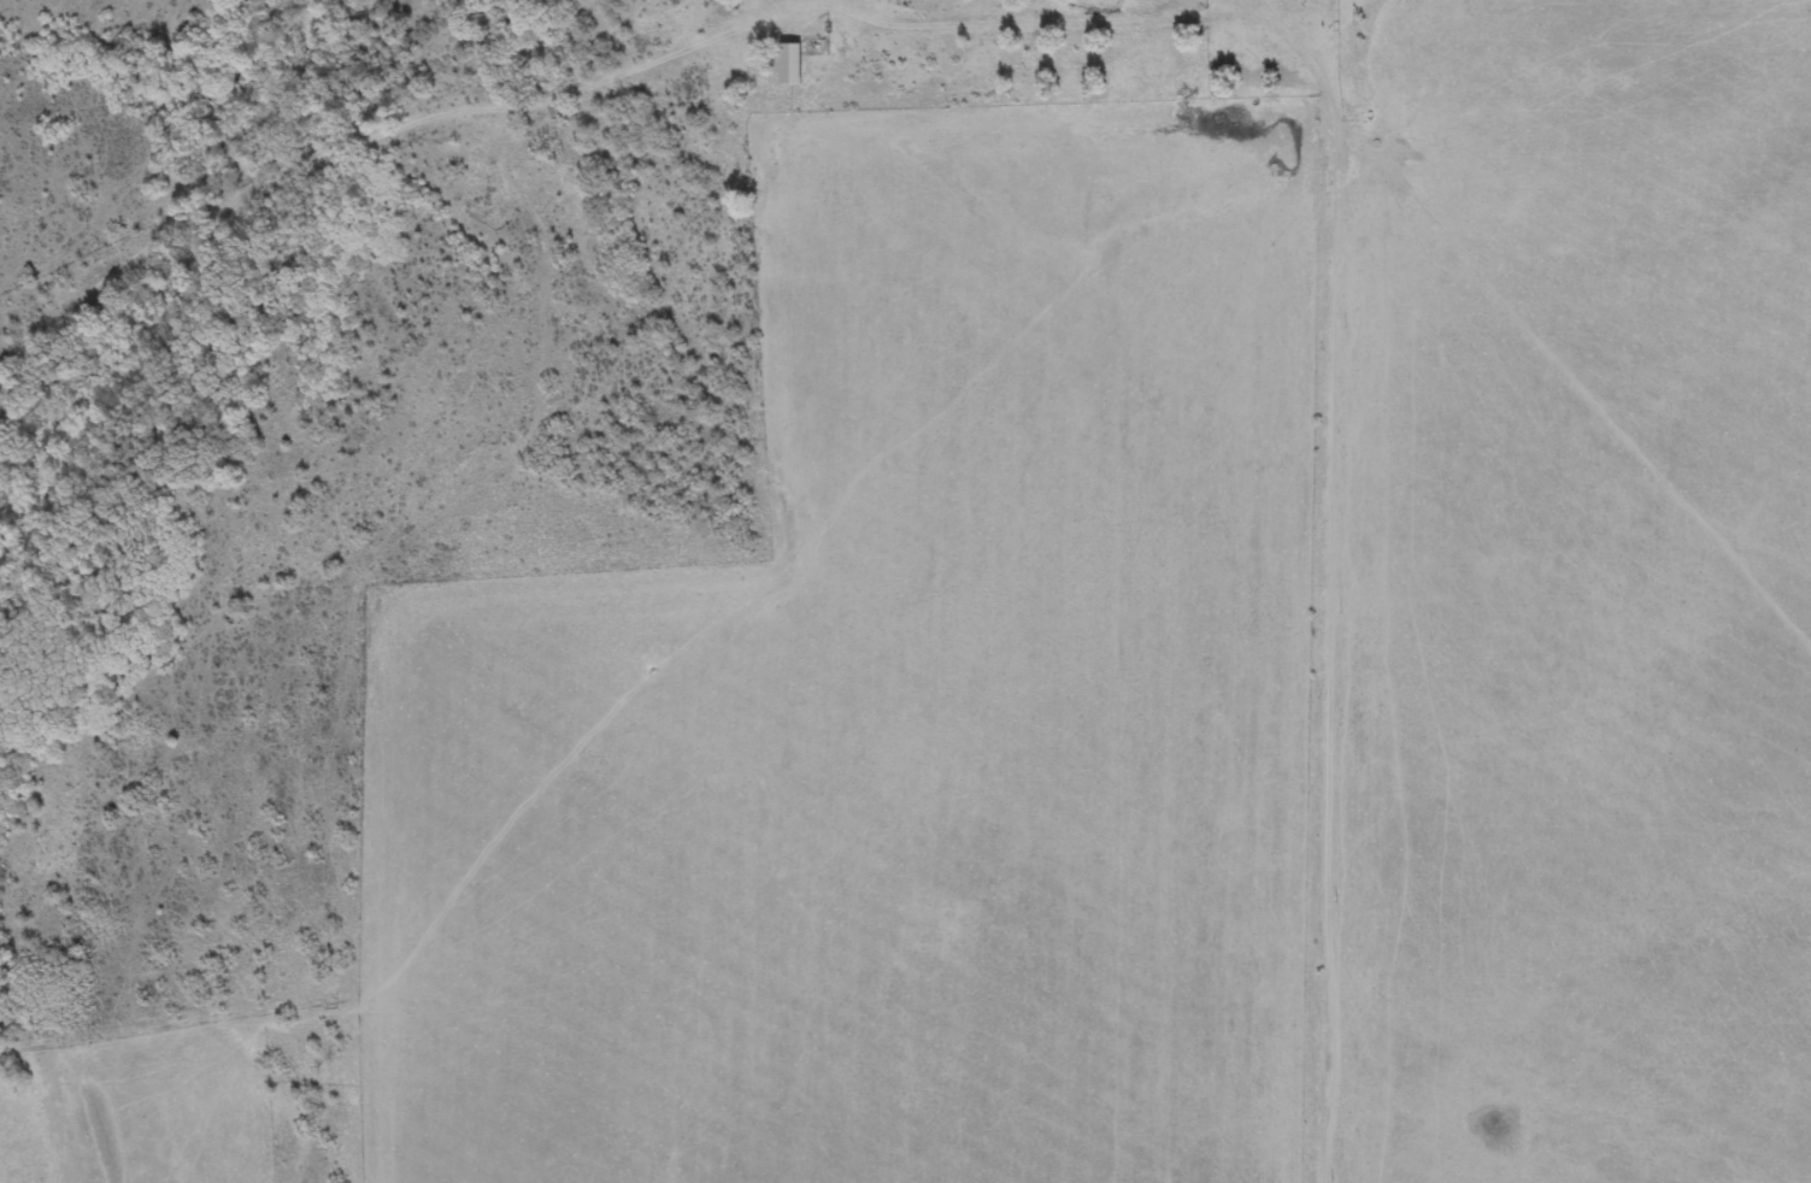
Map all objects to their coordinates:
road: (771, 5)
road: (583, 7)
building: (790, 66)
road: (1337, 566)

